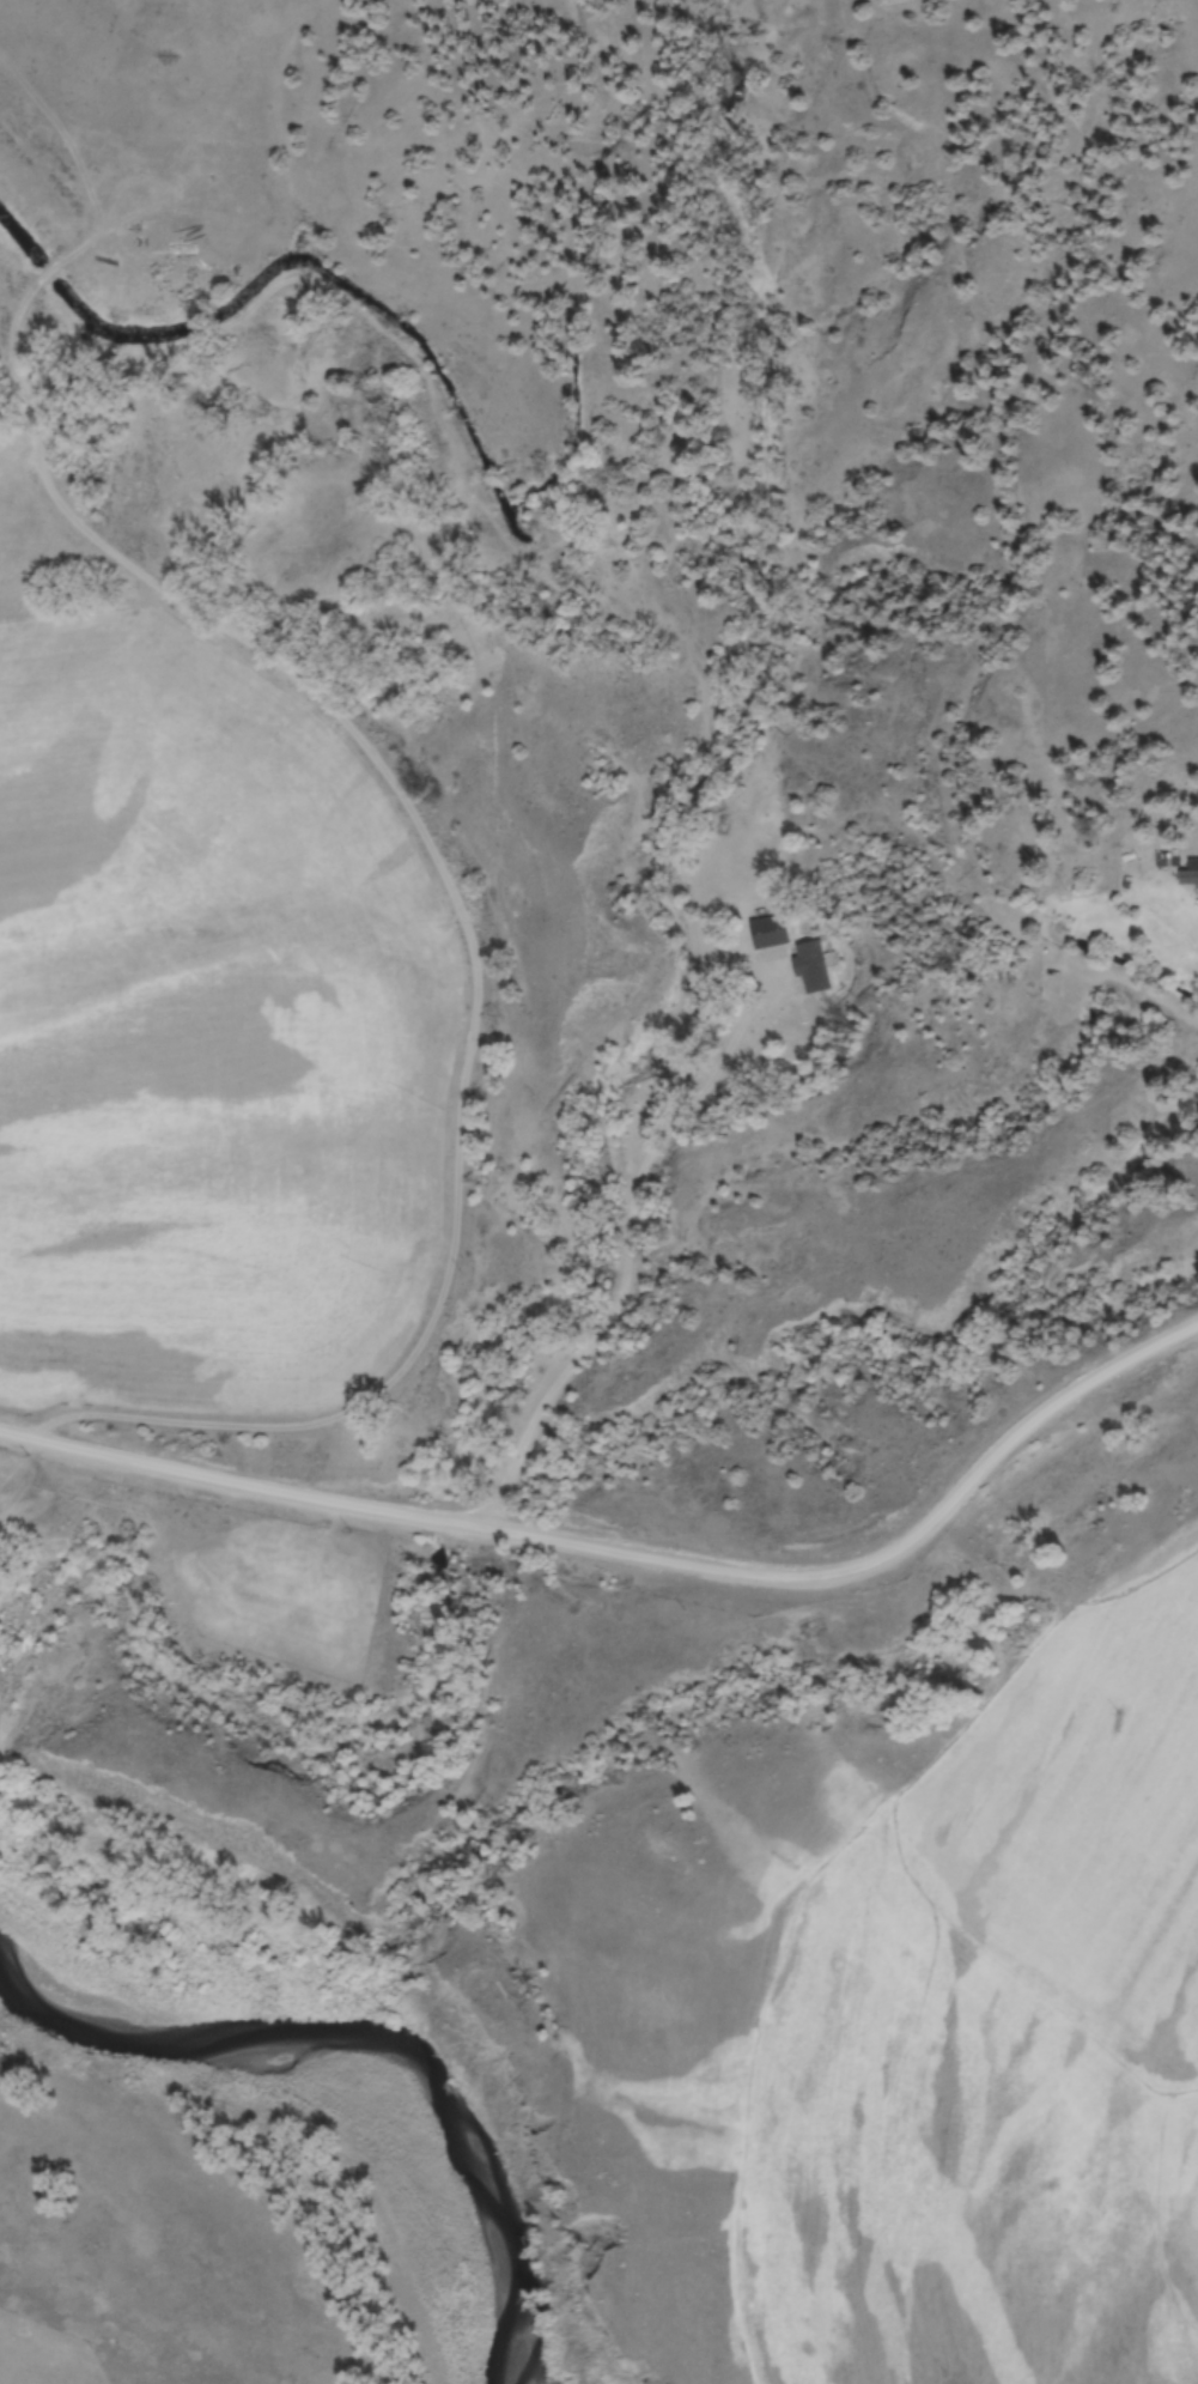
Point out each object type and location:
building: (1191, 874)
building: (772, 932)
building: (814, 966)
road: (633, 1559)
river: (379, 2040)

